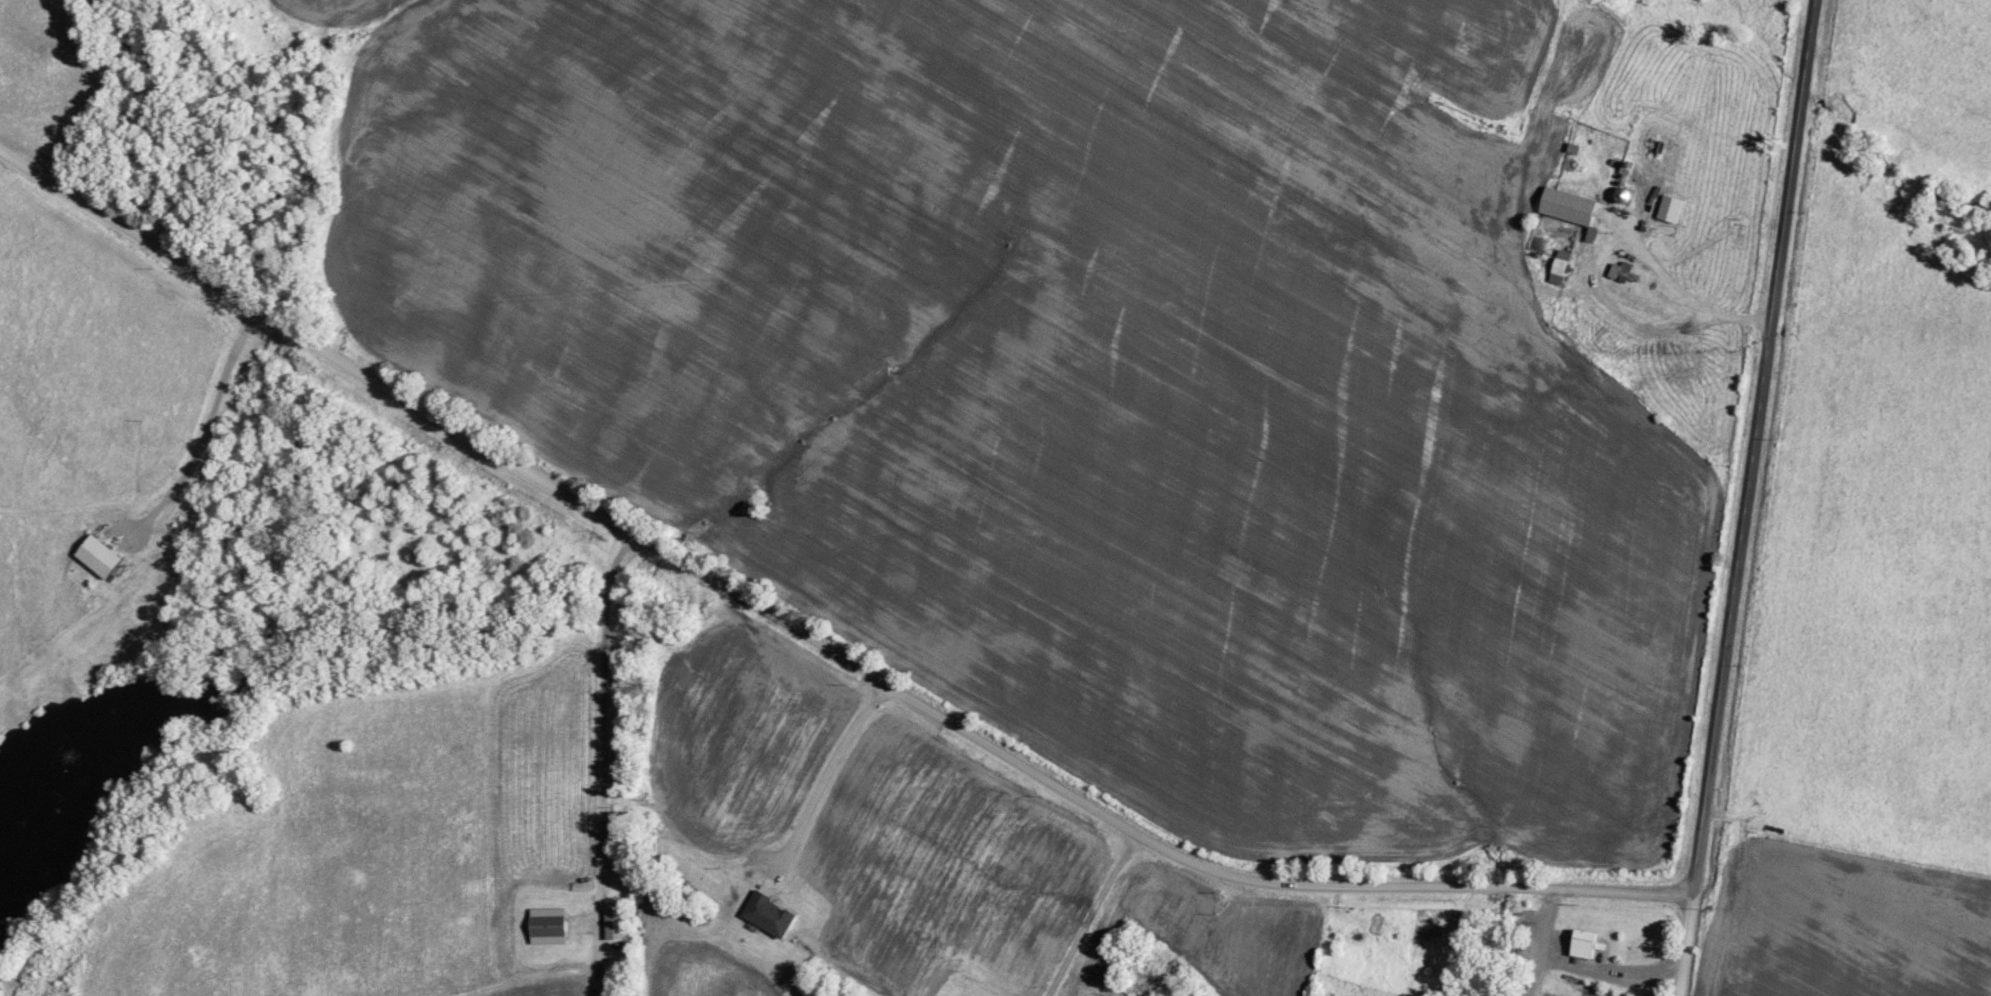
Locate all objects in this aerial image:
building: (1572, 206)
building: (1672, 208)
building: (1563, 266)
building: (1618, 270)
road: (1676, 287)
road: (207, 437)
road: (1752, 446)
building: (103, 556)
road: (811, 639)
road: (825, 788)
building: (773, 914)
building: (618, 924)
building: (552, 925)
building: (1587, 943)
road: (1685, 944)
road: (1580, 966)

